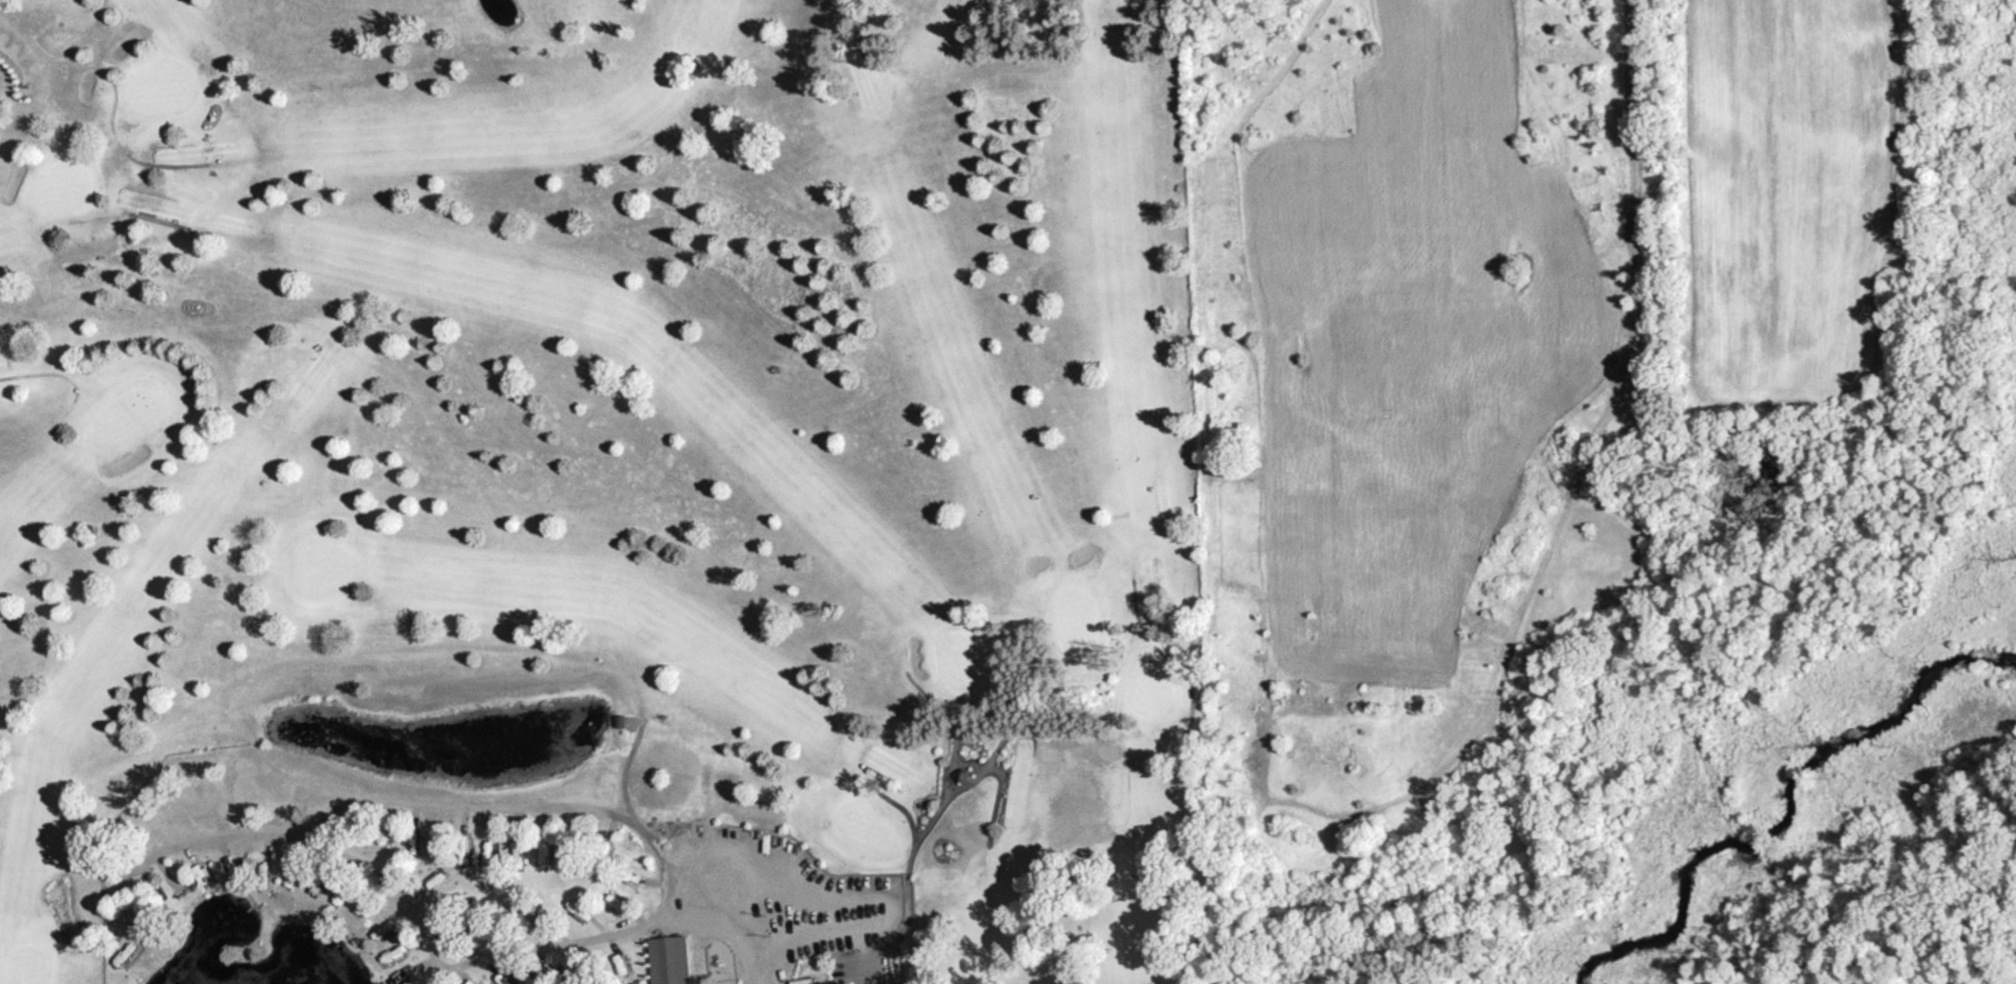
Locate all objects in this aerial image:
park: (603, 492)
road: (512, 805)
building: (516, 851)
building: (175, 887)
building: (151, 925)
building: (452, 936)
building: (668, 960)
building: (808, 981)

